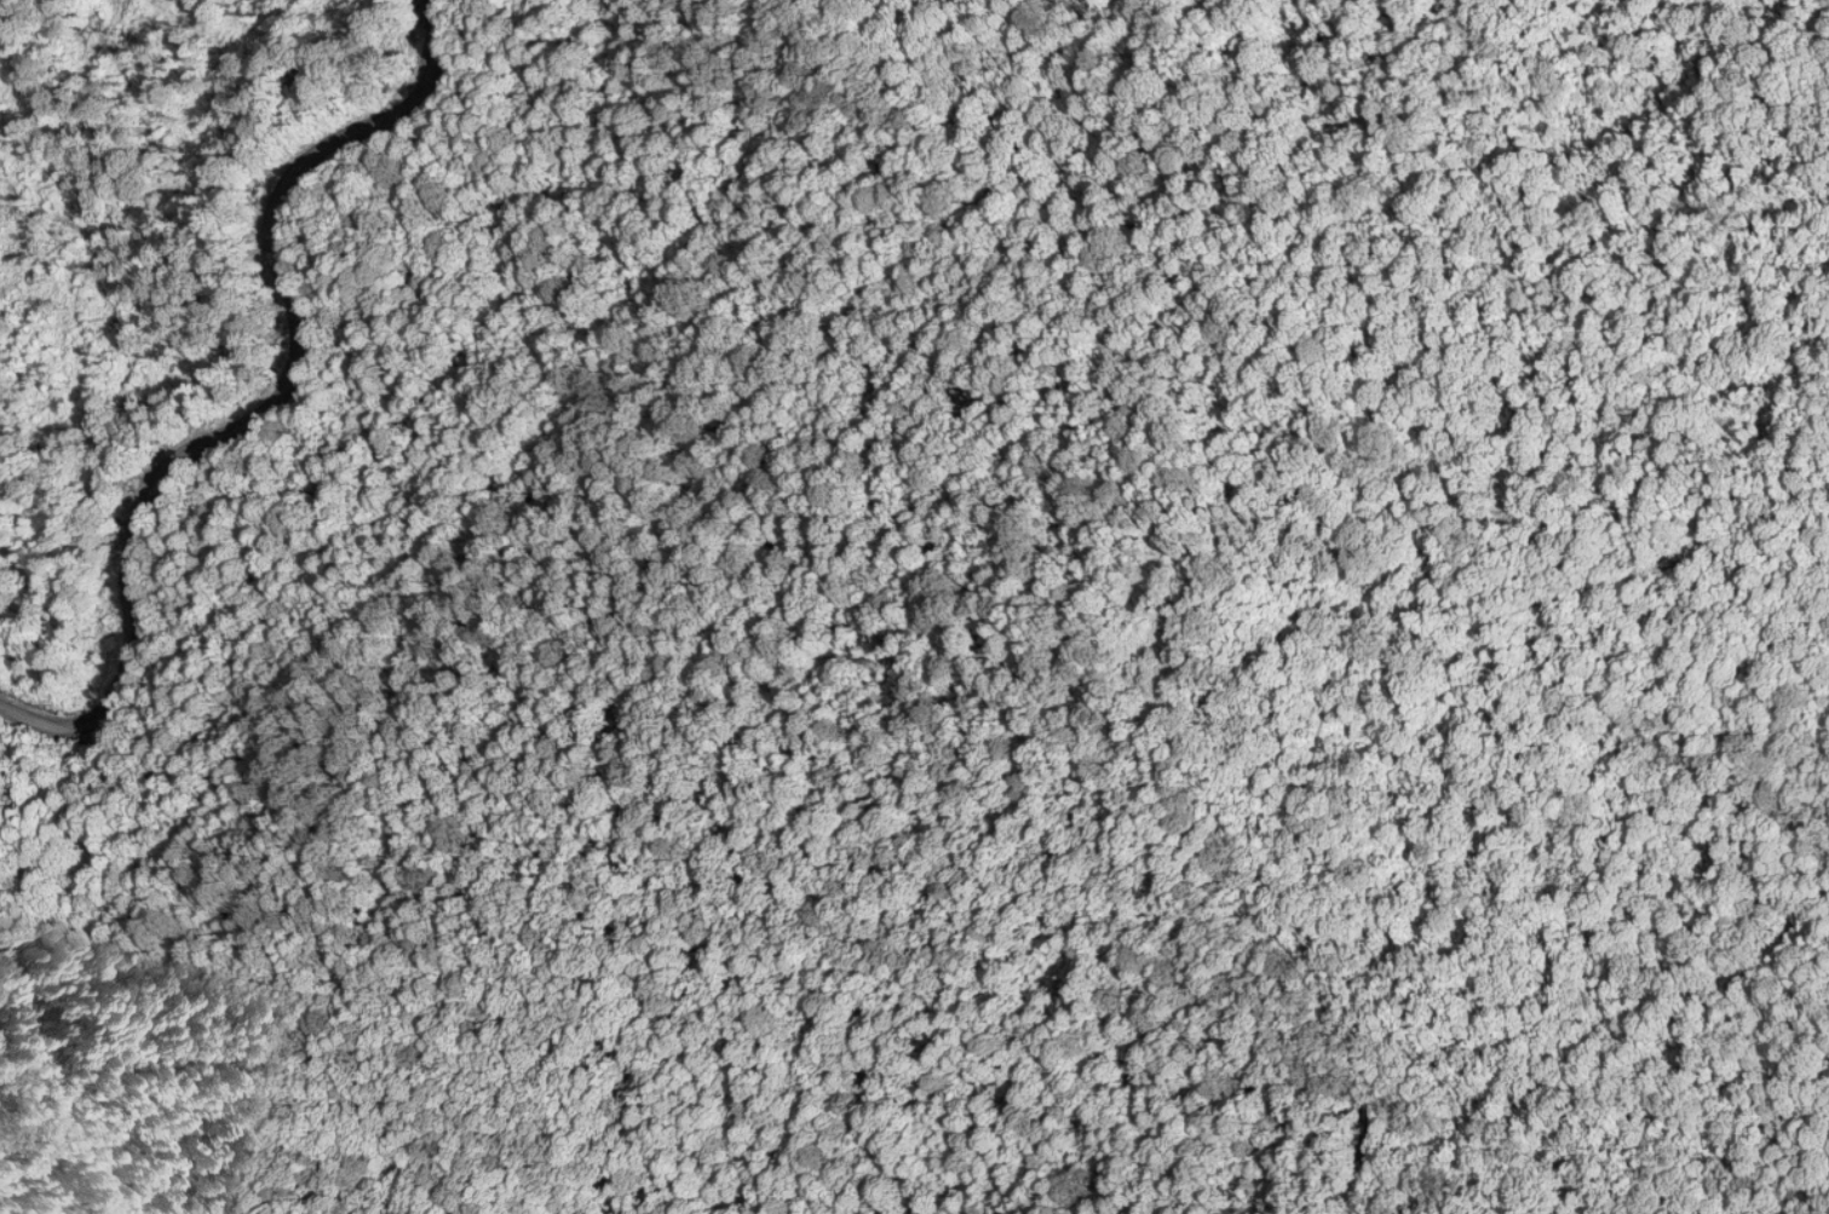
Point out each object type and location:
road: (263, 404)

